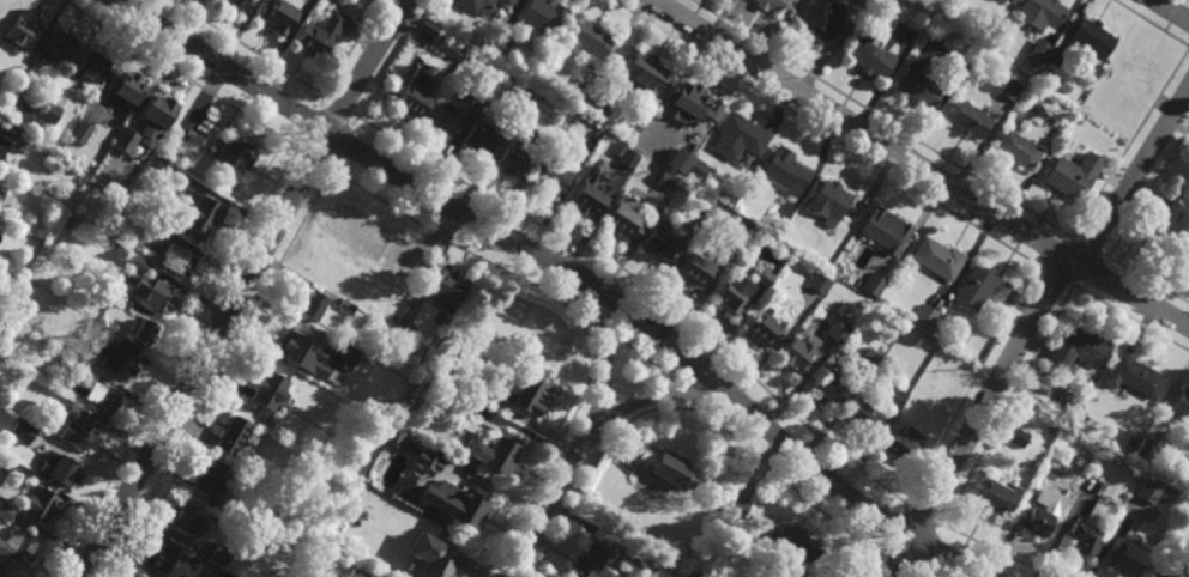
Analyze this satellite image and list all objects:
building: (1007, 0)
building: (863, 1)
building: (505, 2)
building: (240, 4)
building: (768, 5)
building: (476, 6)
building: (956, 10)
road: (1170, 11)
road: (513, 12)
building: (1043, 12)
building: (277, 16)
building: (543, 16)
building: (819, 17)
road: (416, 22)
road: (1149, 24)
building: (23, 30)
building: (321, 34)
building: (1093, 38)
building: (589, 42)
road: (616, 43)
building: (497, 45)
building: (59, 47)
road: (247, 47)
road: (351, 47)
building: (446, 47)
road: (630, 48)
building: (1038, 51)
building: (1055, 57)
building: (869, 59)
building: (92, 67)
building: (1136, 71)
building: (488, 72)
building: (642, 74)
road: (183, 75)
road: (731, 80)
building: (127, 89)
building: (918, 89)
building: (1010, 89)
building: (526, 90)
building: (414, 97)
building: (578, 98)
building: (692, 103)
road: (338, 105)
building: (596, 108)
road: (780, 108)
building: (159, 110)
building: (24, 113)
building: (449, 113)
building: (44, 117)
road: (883, 119)
building: (970, 120)
building: (8, 130)
building: (82, 132)
road: (827, 134)
building: (482, 135)
building: (596, 135)
building: (737, 138)
building: (126, 140)
road: (454, 141)
building: (72, 145)
road: (1128, 145)
building: (24, 147)
road: (320, 147)
building: (1016, 151)
building: (236, 156)
road: (489, 158)
building: (514, 158)
building: (627, 160)
road: (918, 165)
building: (163, 168)
road: (532, 168)
road: (821, 169)
building: (592, 170)
building: (785, 172)
road: (1133, 175)
building: (1073, 176)
building: (550, 177)
building: (663, 182)
road: (881, 182)
building: (1, 193)
road: (1149, 193)
road: (560, 194)
building: (586, 199)
building: (828, 202)
building: (704, 207)
road: (602, 208)
road: (927, 211)
building: (204, 214)
building: (621, 217)
building: (1166, 221)
building: (774, 225)
building: (157, 229)
building: (882, 232)
building: (740, 233)
building: (657, 244)
road: (630, 245)
road: (1088, 245)
road: (429, 248)
road: (1055, 255)
road: (568, 256)
building: (176, 257)
building: (937, 259)
road: (968, 259)
building: (693, 266)
road: (430, 267)
road: (565, 268)
road: (1091, 272)
road: (666, 273)
road: (1054, 275)
building: (764, 277)
road: (1146, 277)
building: (817, 280)
building: (873, 283)
building: (446, 284)
building: (151, 285)
road: (242, 285)
building: (979, 287)
road: (647, 288)
building: (731, 288)
road: (699, 293)
building: (121, 297)
road: (584, 297)
building: (310, 302)
building: (346, 304)
road: (1020, 304)
road: (574, 306)
building: (388, 311)
road: (725, 312)
building: (405, 315)
building: (925, 315)
road: (1127, 317)
building: (760, 322)
building: (835, 327)
road: (729, 328)
building: (144, 329)
building: (99, 330)
building: (327, 336)
building: (394, 340)
building: (294, 342)
road: (771, 346)
building: (1078, 347)
road: (599, 348)
road: (645, 348)
building: (793, 353)
building: (115, 356)
building: (867, 358)
road: (174, 360)
building: (79, 365)
road: (217, 372)
building: (1134, 375)
building: (827, 382)
building: (471, 383)
road: (970, 383)
road: (796, 385)
building: (270, 389)
building: (527, 389)
road: (696, 394)
building: (101, 395)
building: (893, 397)
building: (464, 401)
road: (682, 405)
road: (1007, 405)
building: (1181, 405)
building: (862, 415)
road: (976, 417)
road: (829, 419)
building: (380, 424)
building: (1106, 424)
building: (80, 426)
road: (590, 430)
building: (20, 432)
building: (231, 433)
building: (1016, 436)
building: (40, 437)
building: (390, 437)
road: (614, 439)
building: (901, 442)
building: (1146, 448)
building: (496, 449)
building: (425, 454)
road: (865, 456)
building: (10, 464)
road: (759, 464)
building: (666, 466)
building: (62, 468)
building: (207, 475)
building: (404, 479)
building: (1148, 490)
building: (995, 496)
building: (40, 503)
building: (460, 503)
building: (712, 505)
building: (736, 506)
building: (6, 510)
building: (1094, 512)
road: (922, 515)
building: (186, 517)
building: (1034, 518)
road: (887, 527)
building: (1082, 537)
building: (792, 541)
building: (18, 545)
road: (994, 548)
road: (928, 549)
building: (219, 553)
building: (433, 553)
building: (1125, 554)
building: (593, 558)
building: (639, 560)
building: (168, 563)
road: (869, 565)
road: (893, 567)
building: (203, 569)
building: (1158, 570)
building: (672, 572)
building: (356, 573)
building: (4, 575)
building: (224, 575)
building: (693, 575)
building: (758, 575)
building: (141, 576)

